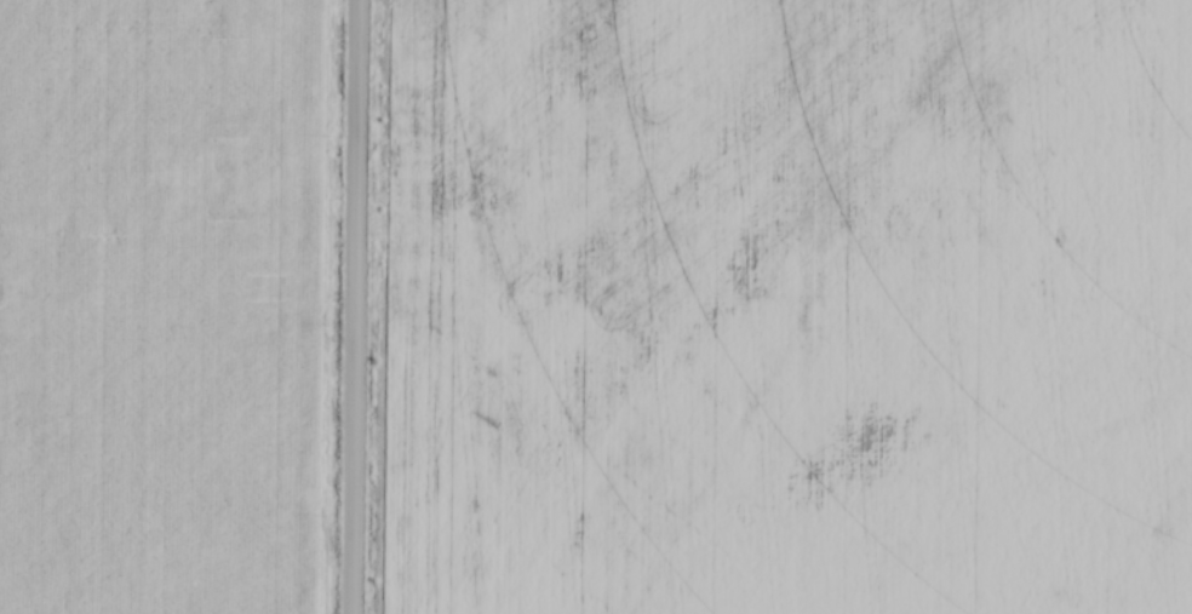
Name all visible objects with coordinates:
road: (351, 306)

